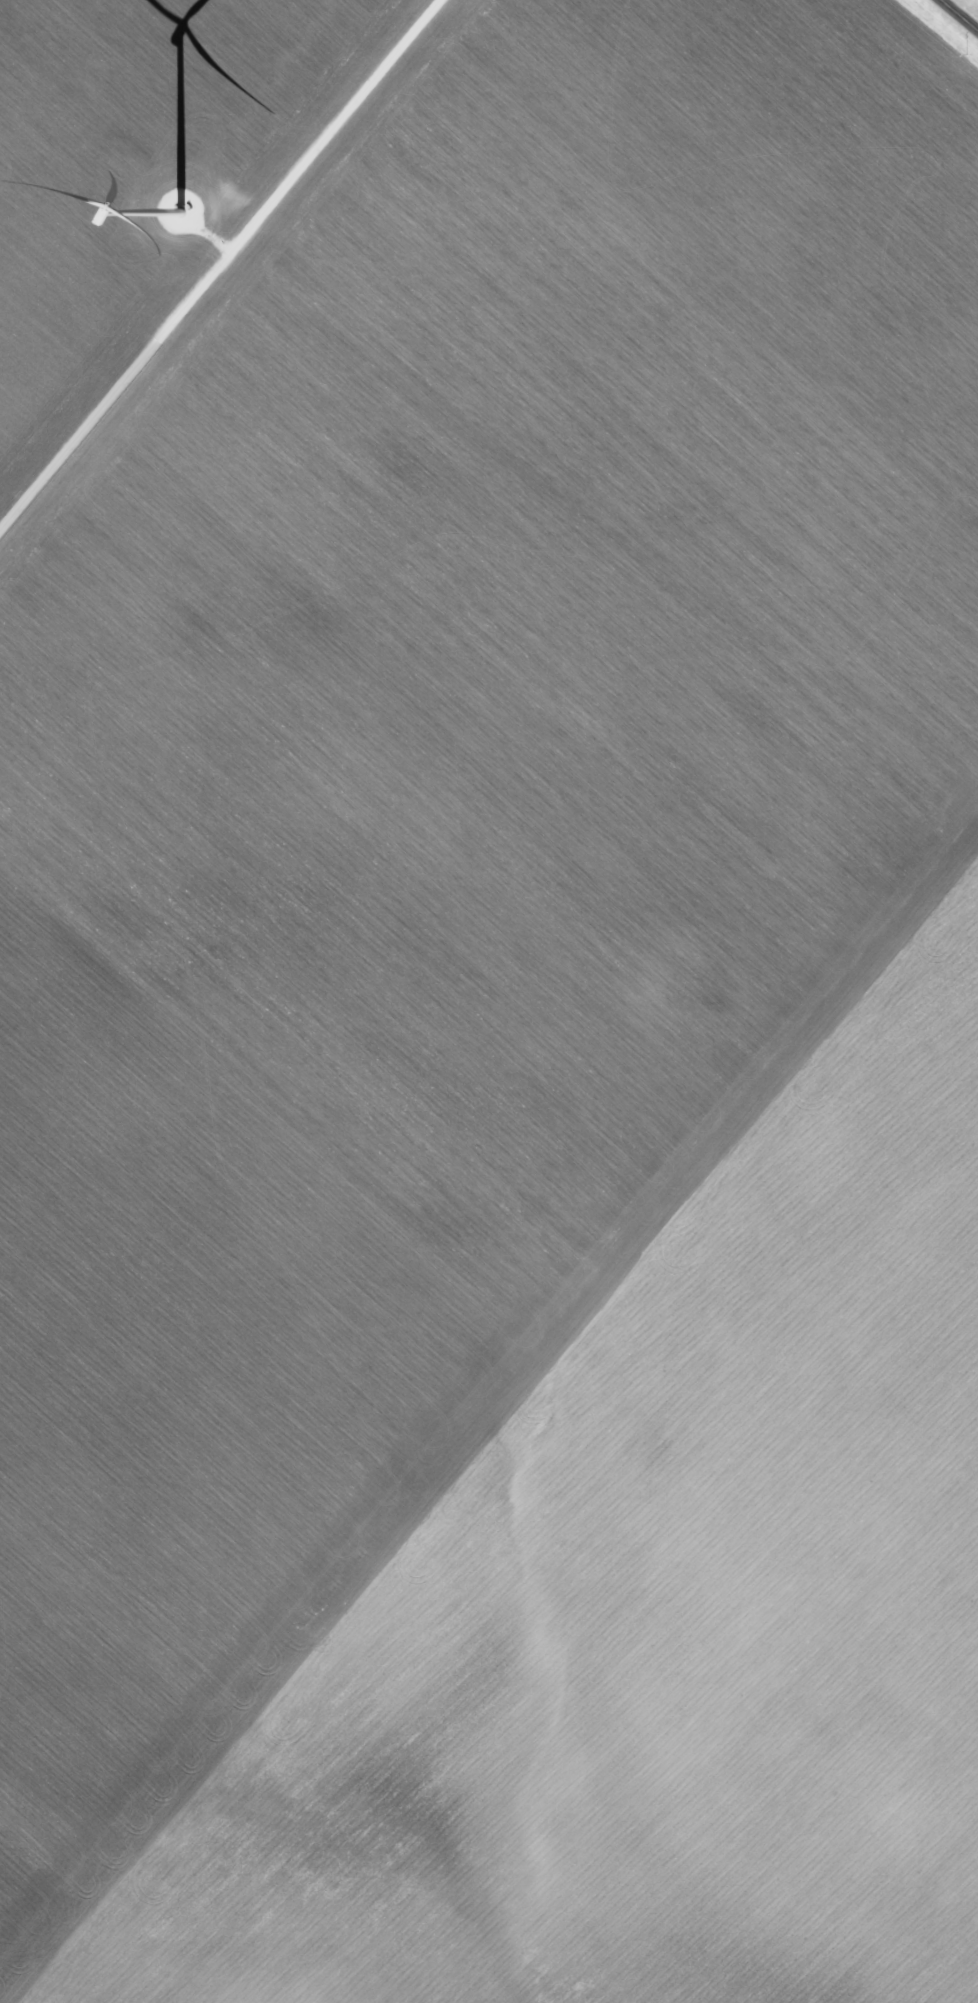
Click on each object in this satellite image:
road: (959, 15)
wind turbine: (167, 199)

